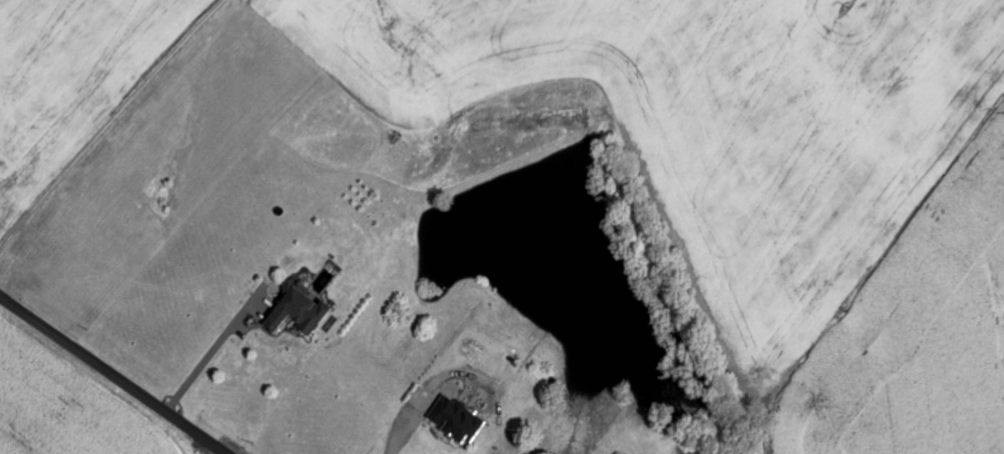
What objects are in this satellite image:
building: (301, 310)
road: (114, 374)
building: (459, 419)

